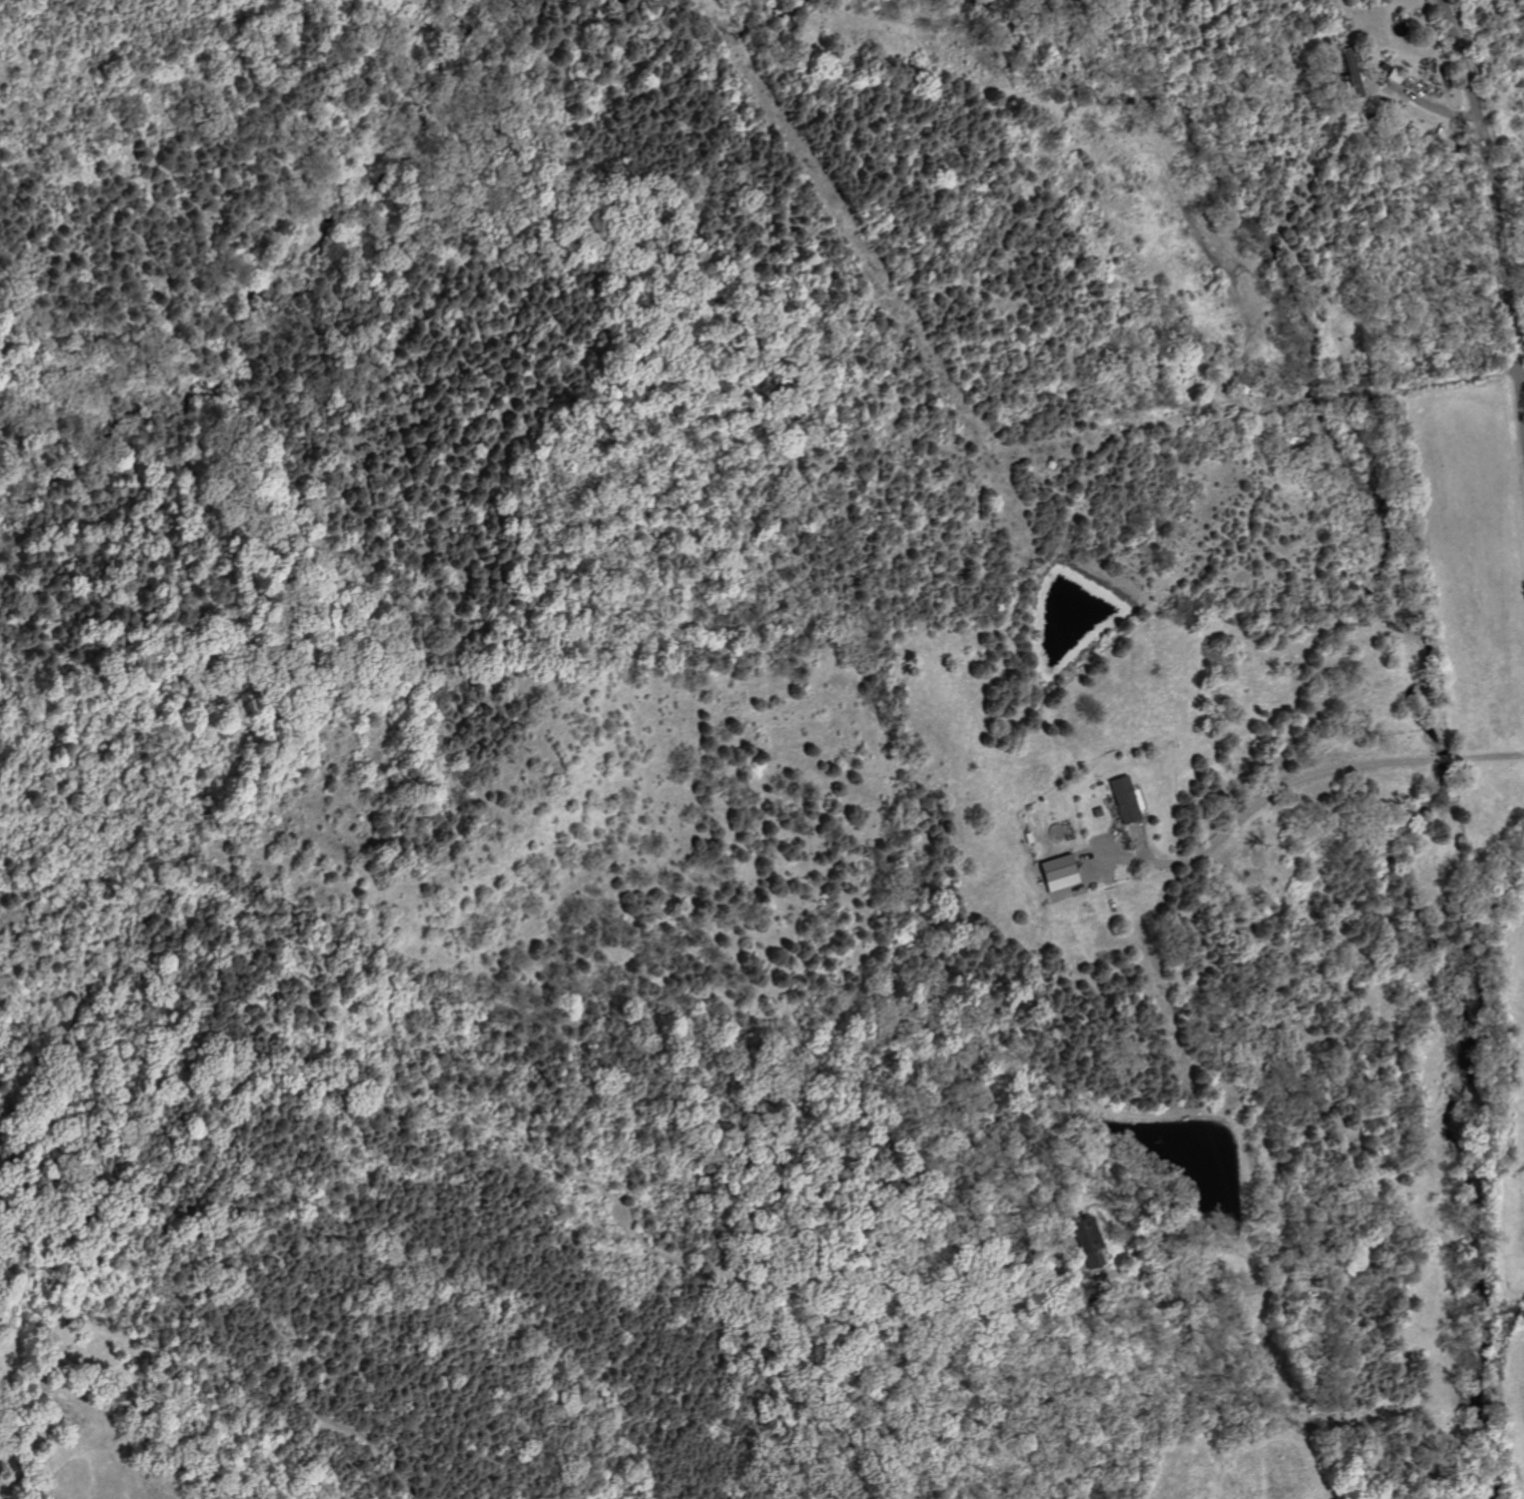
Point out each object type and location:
road: (1496, 209)
road: (1401, 388)
road: (1291, 782)
building: (1120, 800)
building: (1087, 1250)
road: (1339, 1287)

